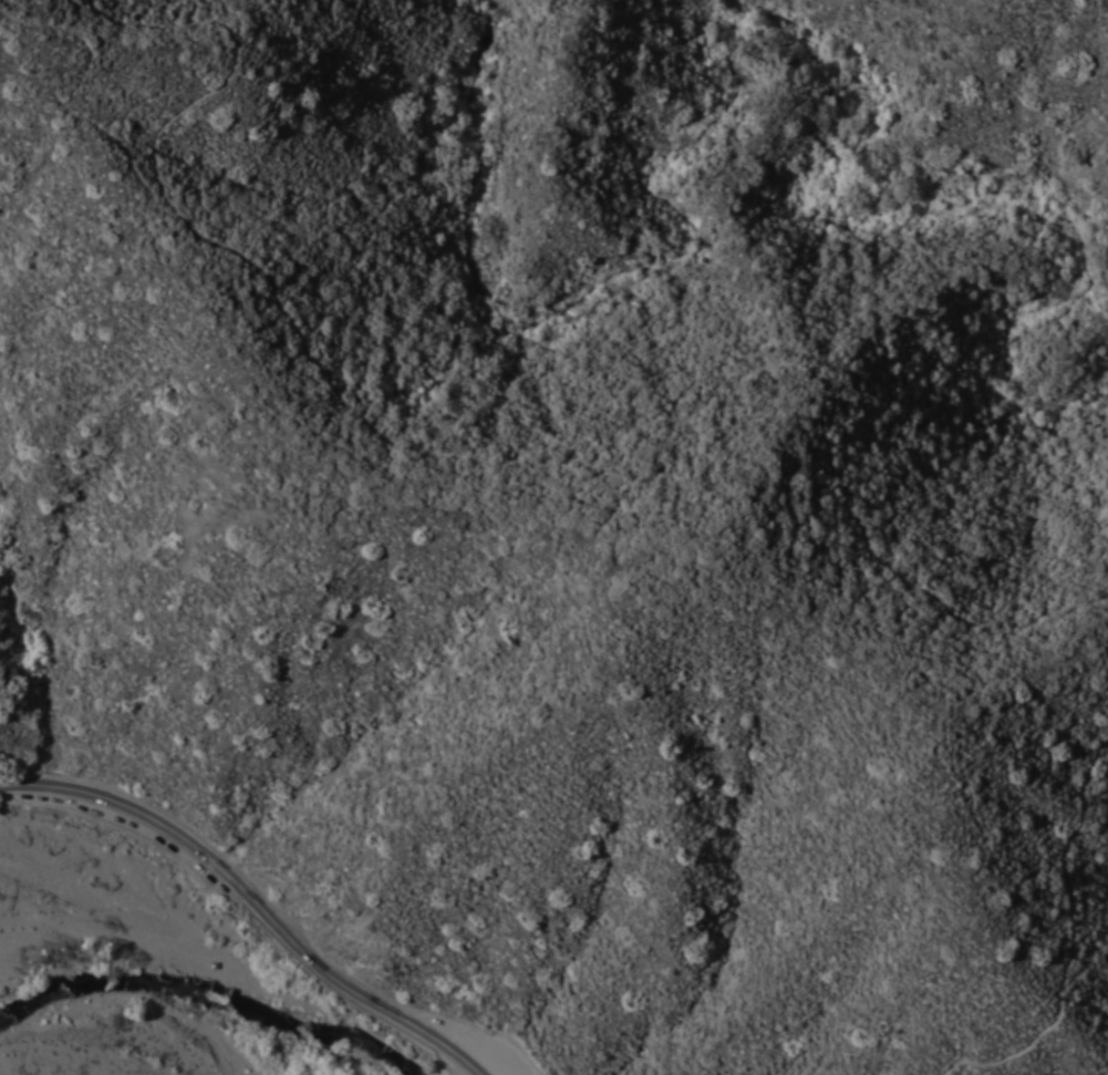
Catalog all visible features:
road: (69, 105)
road: (504, 469)
road: (262, 885)
road: (1071, 947)
river: (186, 996)

